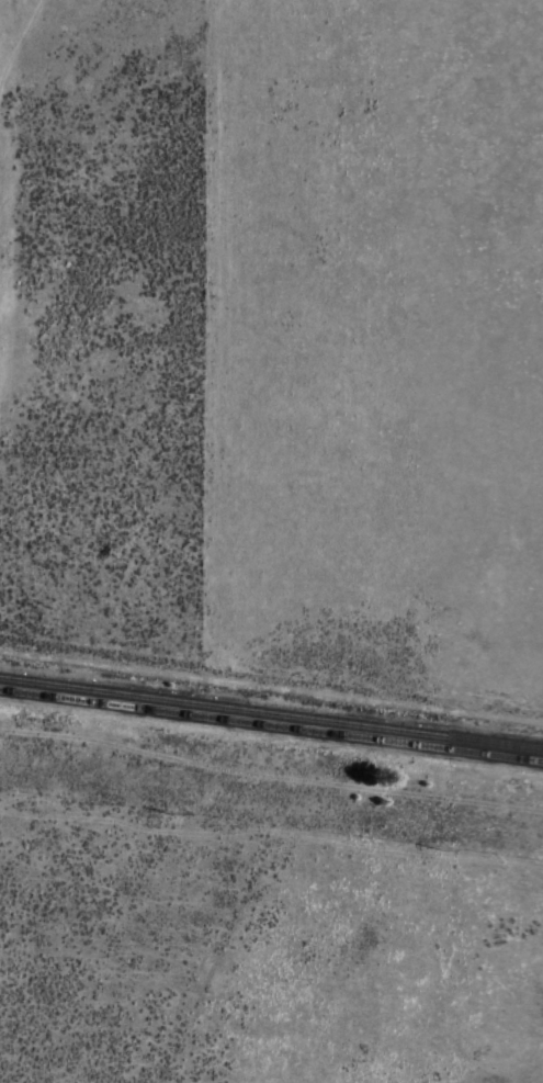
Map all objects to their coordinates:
railway: (271, 712)
railway: (271, 723)
crop: (262, 905)

